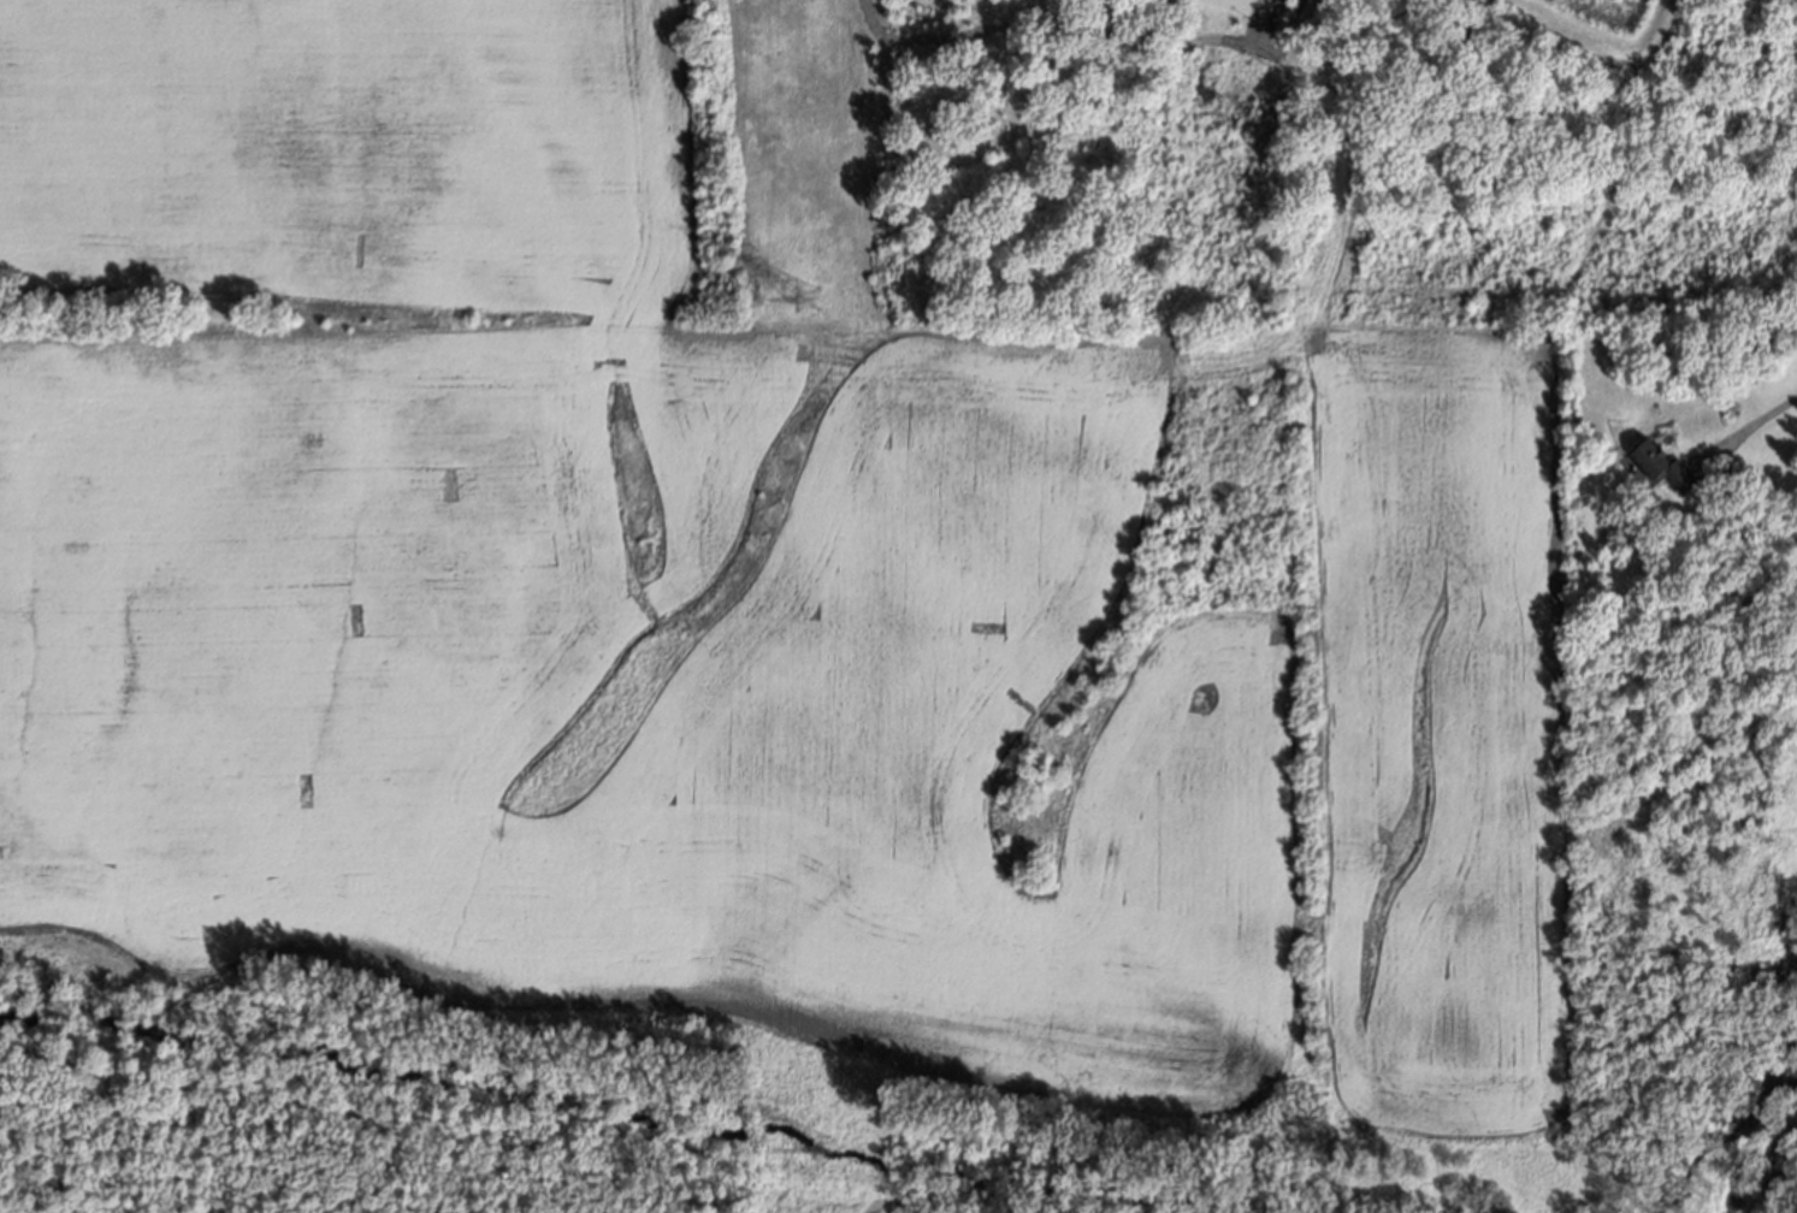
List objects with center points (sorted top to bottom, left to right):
road: (1257, 24)
road: (1284, 39)
power tower: (809, 301)
building: (1781, 336)
road: (1755, 424)
building: (1659, 466)
river: (592, 1108)
power tower: (828, 1165)

